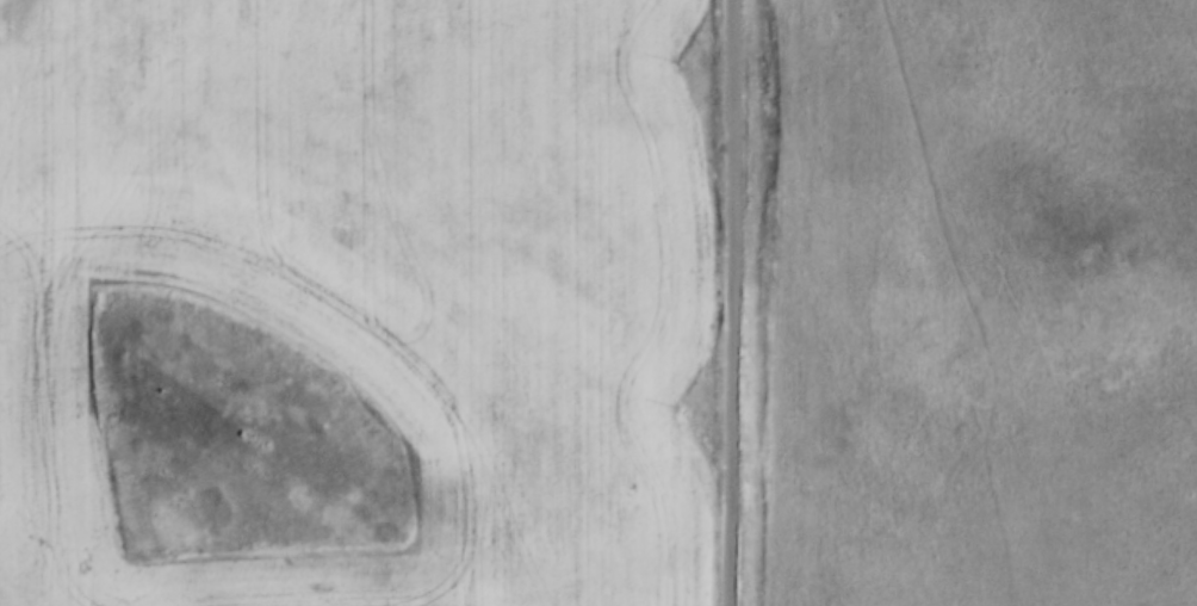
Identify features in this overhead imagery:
road: (732, 303)

